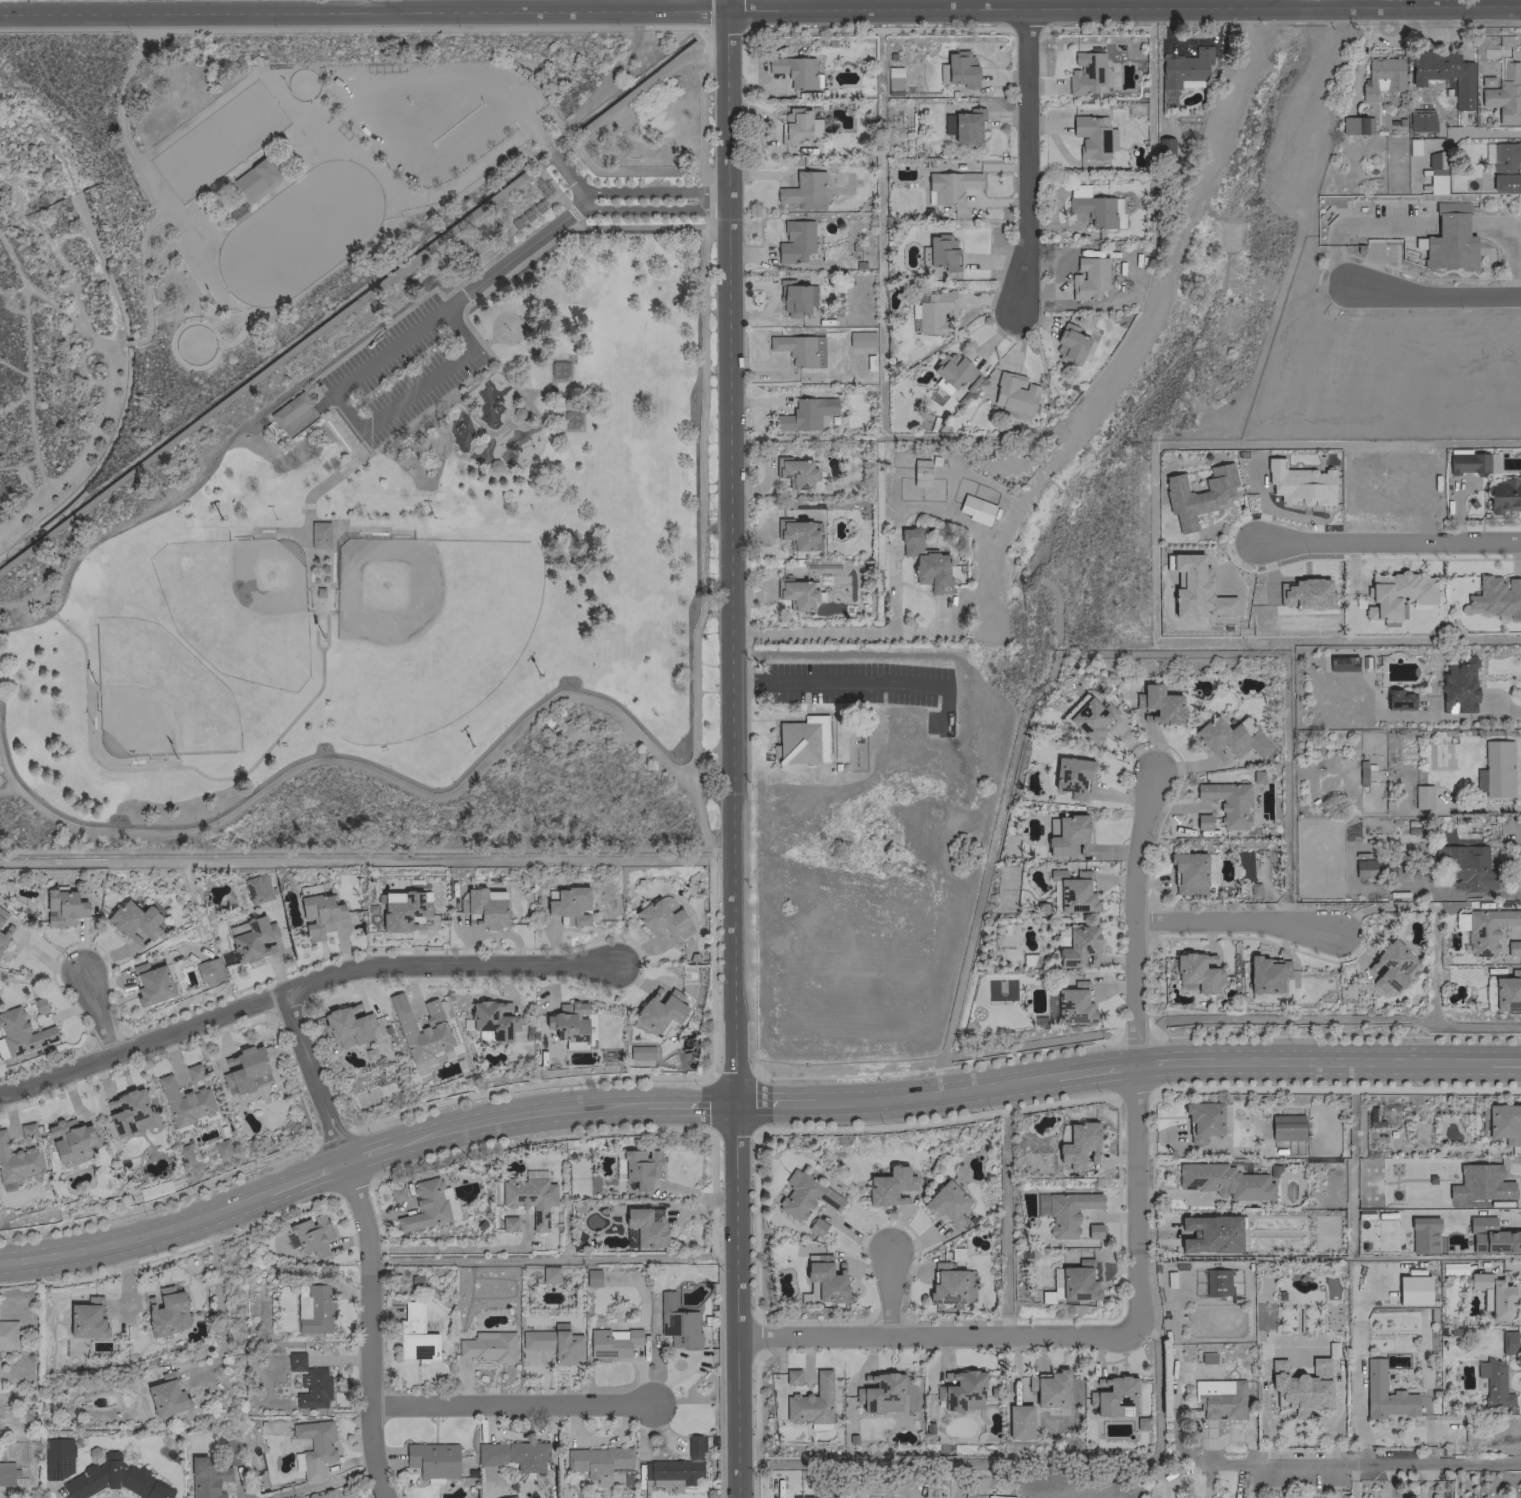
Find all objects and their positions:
road: (1334, 1)
road: (729, 3)
road: (1125, 3)
road: (387, 4)
road: (364, 9)
building: (1185, 68)
building: (958, 69)
building: (795, 71)
building: (1087, 73)
building: (1381, 76)
building: (893, 80)
road: (635, 90)
building: (1502, 93)
road: (506, 98)
parking lot: (429, 111)
building: (1420, 121)
building: (1356, 125)
building: (795, 126)
building: (963, 126)
road: (1484, 132)
building: (1092, 136)
road: (541, 139)
building: (1162, 145)
road: (416, 150)
road: (552, 153)
road: (1028, 154)
road: (528, 158)
building: (1505, 167)
building: (1435, 172)
road: (568, 174)
building: (256, 178)
building: (950, 185)
building: (803, 190)
road: (654, 191)
road: (460, 193)
road: (653, 209)
road: (1357, 224)
building: (1449, 238)
building: (794, 241)
road: (1510, 244)
building: (939, 253)
road: (495, 269)
building: (1088, 278)
road: (434, 288)
road: (1431, 295)
building: (793, 298)
building: (935, 312)
park: (505, 327)
building: (860, 339)
road: (487, 340)
building: (1069, 345)
building: (799, 349)
road: (267, 368)
parking lot: (401, 371)
building: (559, 371)
building: (951, 371)
building: (1014, 396)
building: (290, 409)
road: (345, 413)
building: (806, 414)
building: (570, 421)
road: (346, 432)
road: (391, 435)
park: (357, 440)
building: (1467, 462)
building: (795, 472)
building: (920, 472)
building: (1299, 484)
building: (1197, 495)
building: (1504, 495)
building: (975, 509)
road: (156, 511)
building: (795, 533)
building: (319, 534)
road: (1389, 540)
road: (731, 554)
building: (925, 561)
road: (892, 588)
building: (319, 592)
building: (797, 593)
building: (1304, 593)
building: (1397, 593)
building: (1495, 596)
park: (243, 599)
road: (846, 631)
park: (430, 634)
road: (320, 649)
road: (688, 682)
road: (852, 683)
building: (1458, 686)
park: (158, 693)
building: (1398, 699)
building: (1159, 704)
road: (609, 708)
building: (1091, 718)
building: (1228, 739)
building: (801, 741)
road: (166, 766)
building: (1495, 769)
building: (1072, 777)
building: (1421, 796)
building: (1227, 802)
road: (77, 821)
building: (1202, 821)
building: (1068, 836)
building: (1465, 866)
building: (1366, 868)
building: (1188, 872)
building: (256, 888)
building: (1073, 891)
building: (570, 905)
building: (63, 907)
building: (483, 908)
building: (401, 910)
building: (318, 915)
building: (663, 919)
road: (1237, 920)
building: (134, 922)
building: (3, 927)
building: (1486, 929)
building: (252, 940)
building: (1078, 947)
building: (1512, 947)
building: (1391, 966)
building: (208, 971)
building: (1195, 971)
building: (1263, 975)
building: (151, 983)
road: (302, 986)
building: (1507, 991)
building: (1073, 1002)
building: (660, 1009)
building: (431, 1010)
road: (99, 1013)
building: (491, 1019)
building: (569, 1024)
building: (347, 1026)
building: (21, 1032)
building: (419, 1034)
road: (1132, 1050)
building: (640, 1052)
road: (1173, 1062)
road: (1349, 1063)
road: (1502, 1063)
building: (244, 1069)
building: (193, 1071)
road: (1090, 1071)
road: (934, 1094)
building: (184, 1102)
road: (776, 1102)
road: (684, 1103)
building: (128, 1112)
road: (518, 1112)
building: (1202, 1120)
building: (1482, 1122)
building: (1504, 1123)
building: (1286, 1127)
building: (27, 1130)
building: (68, 1138)
building: (1078, 1145)
building: (221, 1147)
road: (372, 1151)
building: (18, 1161)
building: (638, 1168)
road: (300, 1177)
building: (1224, 1181)
building: (1480, 1183)
building: (887, 1186)
building: (154, 1190)
building: (396, 1194)
building: (802, 1194)
building: (529, 1198)
building: (947, 1203)
building: (428, 1205)
building: (1067, 1212)
building: (508, 1223)
building: (644, 1225)
building: (1093, 1231)
building: (1209, 1233)
building: (310, 1235)
building: (1422, 1235)
building: (1491, 1237)
road: (132, 1239)
road: (366, 1239)
building: (549, 1274)
building: (591, 1277)
building: (1077, 1282)
building: (1216, 1282)
building: (946, 1283)
building: (484, 1289)
road: (887, 1292)
building: (1494, 1294)
road: (1153, 1298)
road: (735, 1299)
road: (217, 1307)
building: (313, 1309)
building: (164, 1310)
building: (86, 1318)
road: (1172, 1320)
building: (677, 1323)
building: (1405, 1326)
building: (1355, 1331)
building: (8, 1335)
building: (415, 1335)
road: (934, 1336)
building: (612, 1342)
building: (1507, 1342)
building: (554, 1343)
building: (488, 1346)
building: (295, 1361)
building: (791, 1376)
building: (1493, 1383)
building: (1300, 1385)
building: (312, 1388)
building: (1049, 1388)
building: (961, 1391)
building: (879, 1393)
building: (1384, 1393)
building: (166, 1395)
building: (1219, 1399)
building: (810, 1402)
road: (512, 1403)
road: (1171, 1409)
building: (1018, 1421)
building: (1139, 1422)
building: (314, 1446)
building: (513, 1455)
building: (58, 1457)
building: (432, 1459)
building: (597, 1461)
road: (1360, 1463)
building: (676, 1466)
building: (7, 1474)
building: (205, 1478)
building: (115, 1479)
road: (319, 1484)
road: (241, 1496)
building: (797, 1496)
building: (508, 1497)

